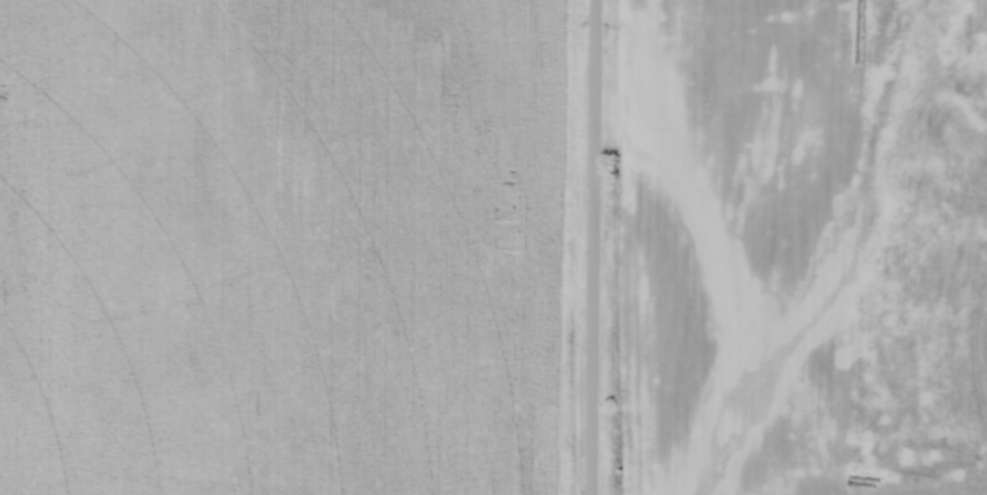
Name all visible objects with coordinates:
road: (595, 247)

